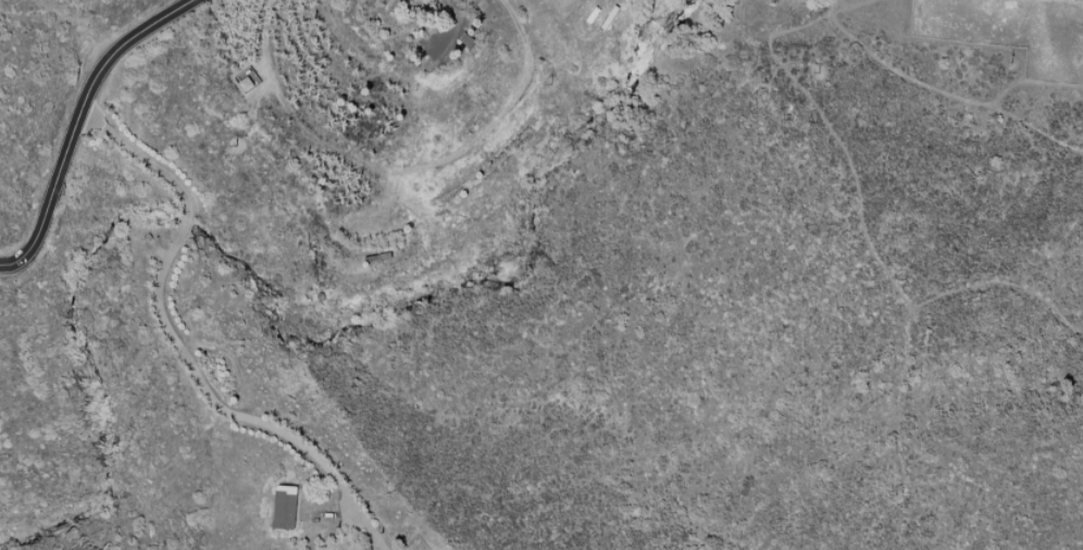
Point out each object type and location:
road: (457, 13)
road: (263, 37)
building: (466, 40)
road: (76, 121)
road: (178, 345)
building: (286, 507)

